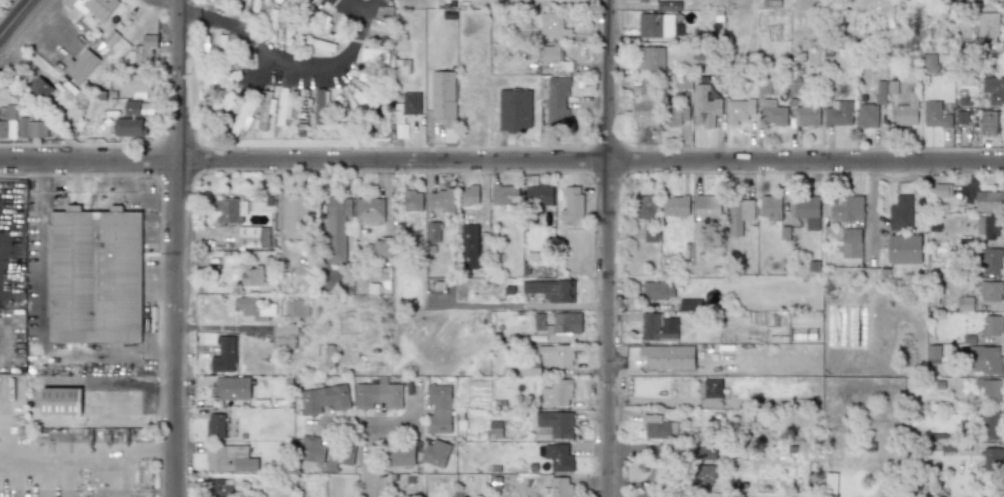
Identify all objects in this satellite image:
building: (647, 1)
building: (220, 2)
road: (156, 3)
building: (771, 3)
building: (669, 5)
road: (367, 7)
building: (97, 8)
road: (13, 17)
road: (223, 21)
building: (272, 24)
building: (656, 25)
building: (552, 26)
building: (989, 32)
building: (222, 42)
road: (126, 47)
building: (141, 51)
building: (375, 54)
building: (550, 54)
building: (651, 58)
building: (81, 64)
building: (986, 64)
building: (402, 67)
road: (335, 68)
building: (368, 76)
building: (222, 77)
building: (683, 82)
building: (134, 86)
building: (892, 86)
building: (41, 89)
building: (881, 91)
building: (993, 91)
building: (224, 102)
building: (558, 102)
building: (284, 105)
building: (644, 105)
building: (368, 106)
building: (321, 107)
building: (407, 107)
building: (264, 110)
building: (706, 110)
building: (739, 110)
building: (907, 110)
building: (773, 113)
building: (838, 113)
building: (807, 115)
building: (867, 115)
building: (936, 115)
building: (243, 116)
building: (676, 116)
building: (960, 117)
building: (130, 120)
building: (989, 121)
building: (9, 122)
building: (35, 127)
road: (501, 161)
building: (943, 190)
building: (538, 192)
building: (504, 194)
building: (470, 195)
road: (1, 198)
building: (412, 200)
building: (442, 200)
building: (989, 201)
building: (570, 202)
building: (676, 205)
building: (646, 207)
building: (707, 207)
building: (770, 209)
building: (230, 210)
building: (370, 211)
building: (807, 211)
building: (900, 212)
building: (295, 216)
building: (740, 216)
building: (849, 224)
building: (992, 227)
building: (336, 230)
building: (434, 231)
building: (650, 234)
building: (253, 237)
building: (471, 246)
road: (176, 248)
road: (604, 248)
building: (382, 249)
building: (904, 249)
building: (988, 261)
building: (252, 275)
building: (99, 278)
building: (335, 278)
building: (553, 290)
building: (657, 290)
building: (991, 290)
building: (688, 303)
road: (517, 305)
building: (255, 308)
building: (296, 310)
road: (42, 318)
building: (559, 323)
building: (993, 325)
building: (659, 327)
building: (285, 330)
road: (3, 344)
building: (932, 354)
building: (223, 355)
building: (329, 355)
building: (555, 355)
building: (986, 359)
building: (230, 388)
building: (559, 392)
building: (711, 392)
building: (987, 392)
building: (378, 394)
building: (324, 399)
building: (92, 402)
building: (439, 409)
building: (555, 424)
building: (215, 425)
building: (990, 425)
building: (658, 427)
road: (369, 431)
building: (312, 448)
road: (79, 450)
building: (703, 450)
building: (436, 453)
building: (341, 454)
building: (399, 455)
building: (562, 457)
building: (991, 458)
building: (230, 459)
building: (703, 474)
building: (831, 485)
building: (220, 487)
building: (559, 487)

